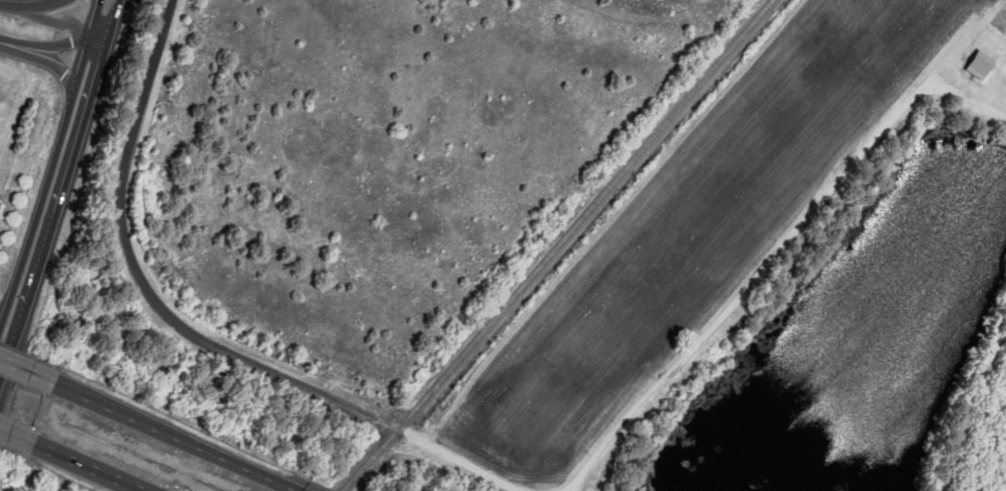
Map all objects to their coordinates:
road: (52, 15)
road: (45, 53)
road: (55, 186)
railway: (552, 246)
road: (135, 267)
road: (19, 358)
road: (6, 424)
road: (171, 428)
road: (85, 459)
road: (306, 490)

